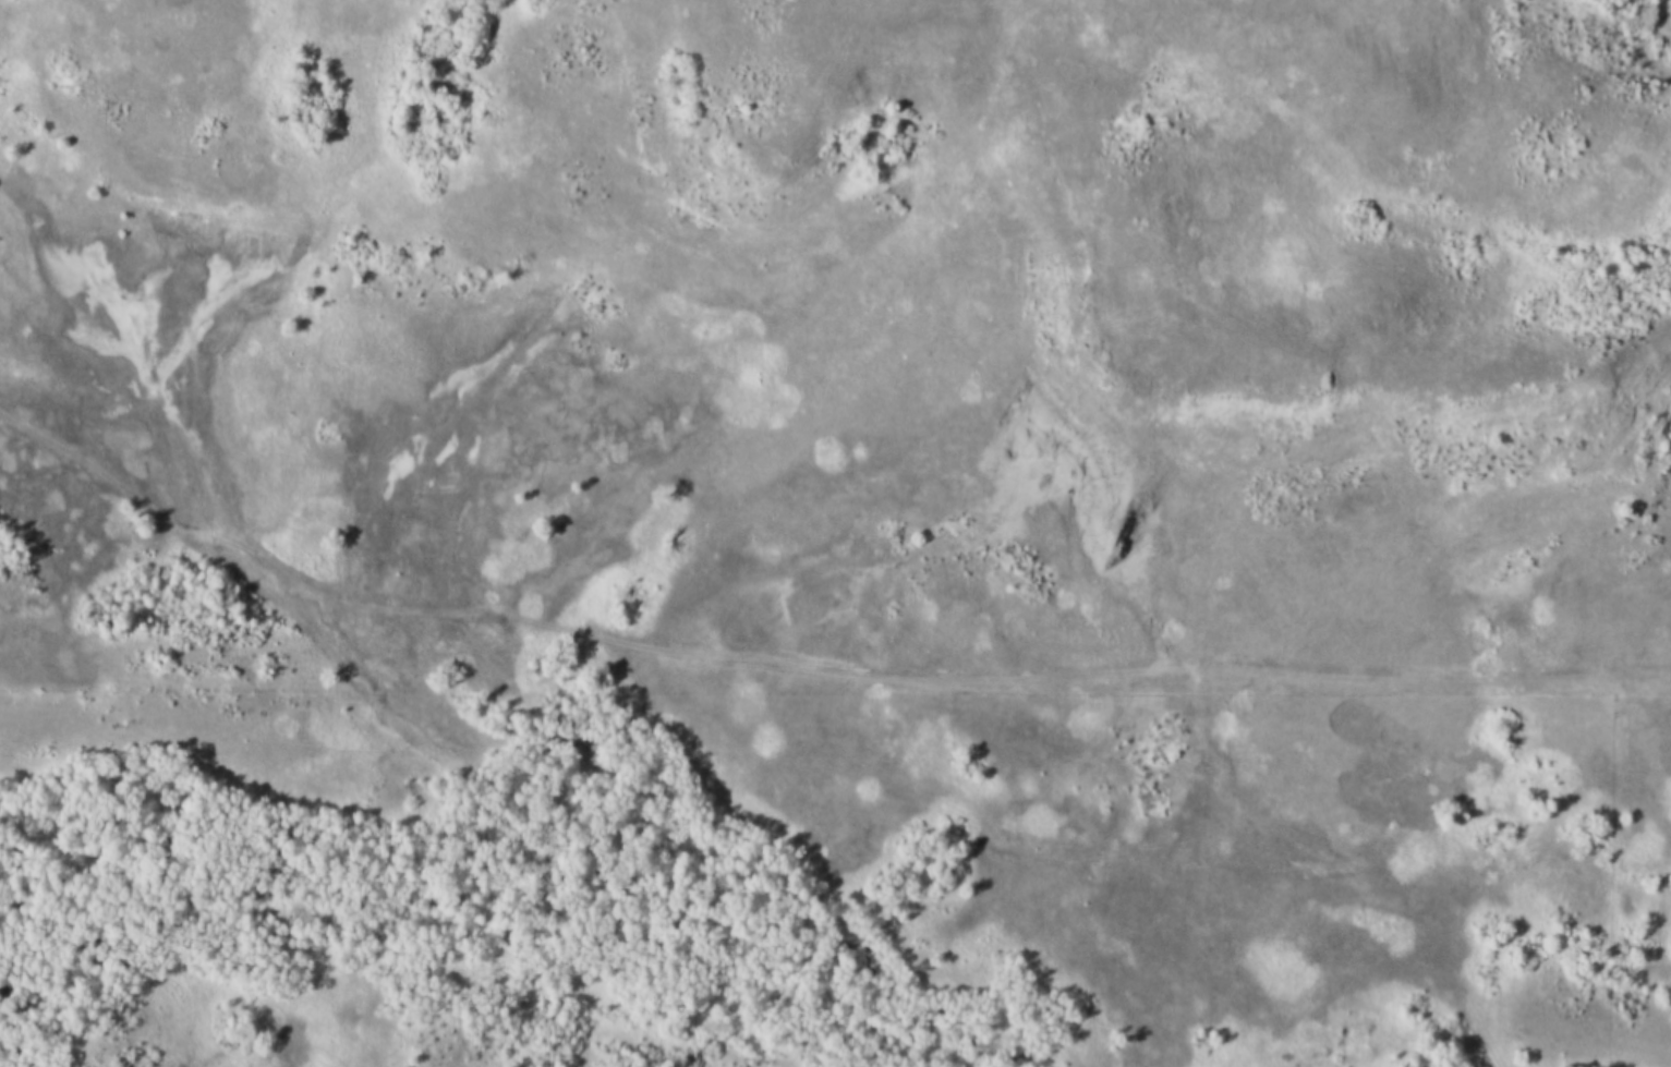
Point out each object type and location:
road: (810, 672)

